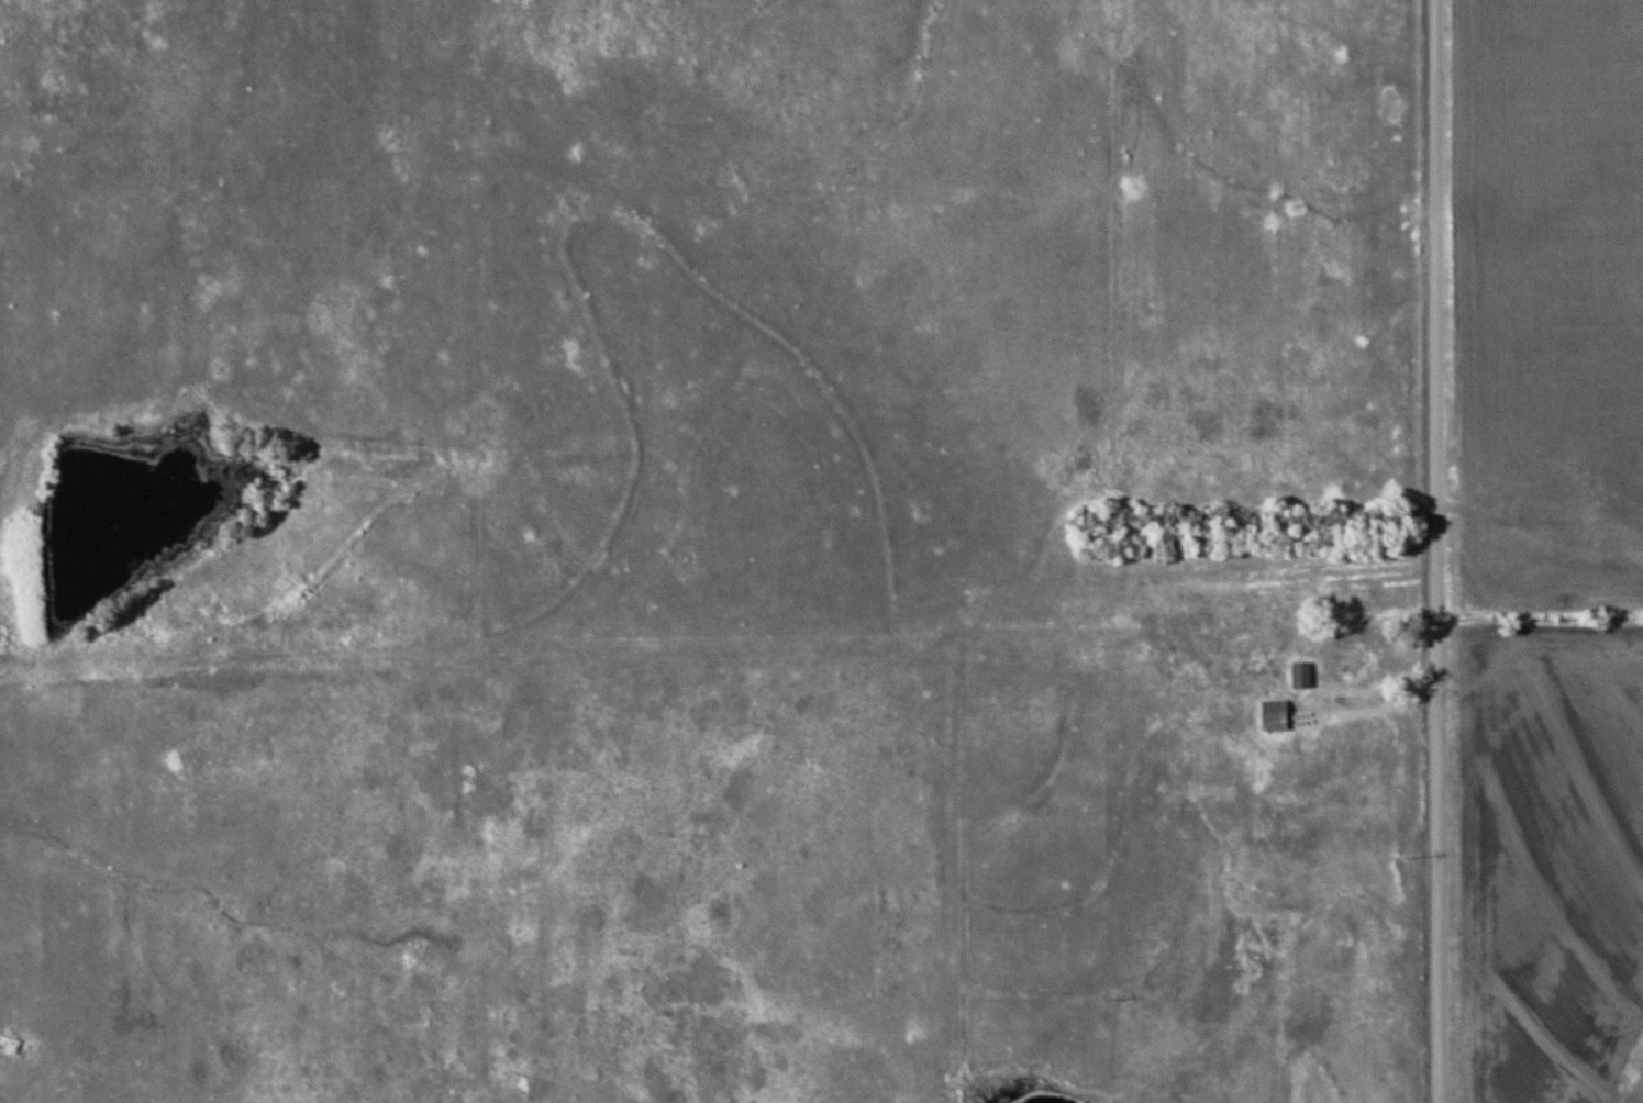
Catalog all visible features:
road: (1534, 514)
road: (1435, 550)
building: (1634, 555)
road: (1358, 623)
building: (1299, 673)
building: (1273, 713)

